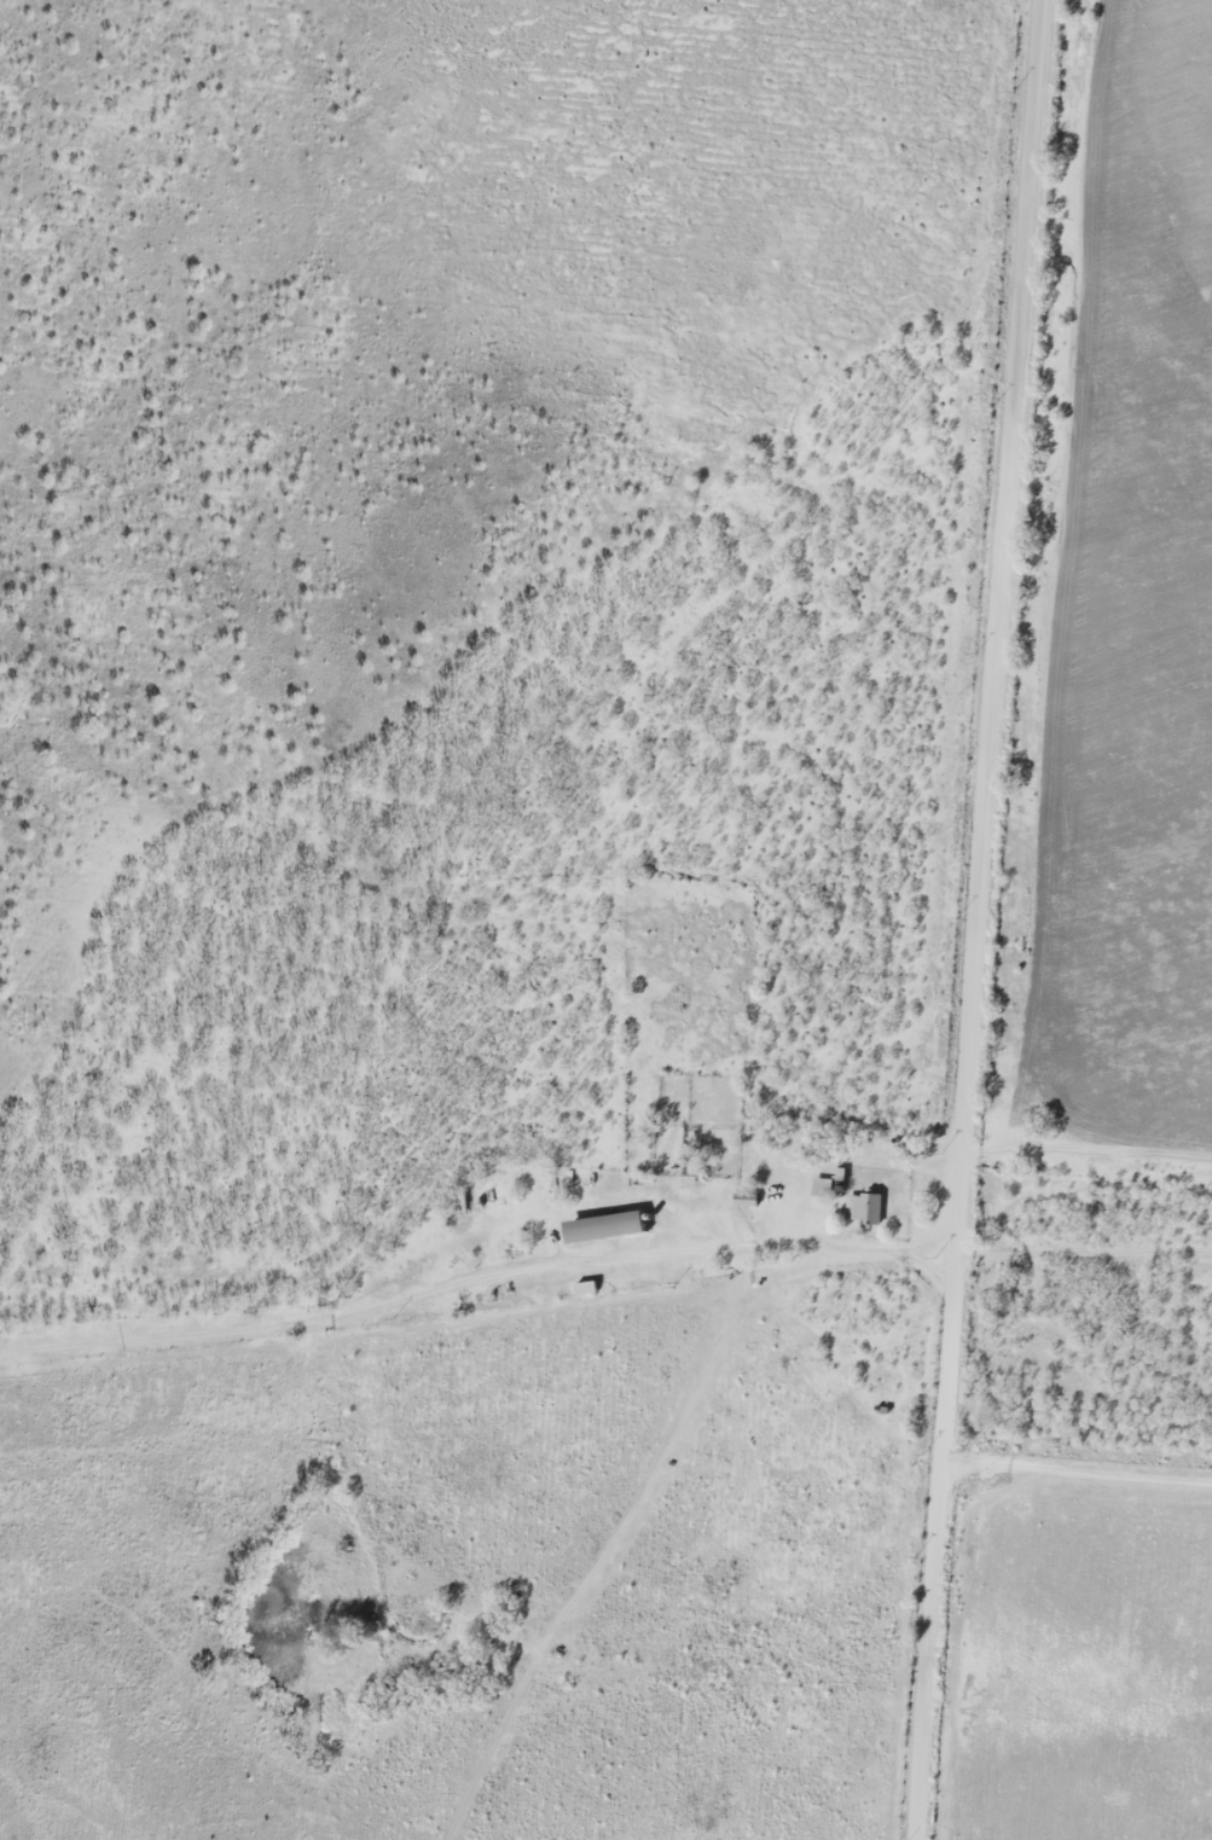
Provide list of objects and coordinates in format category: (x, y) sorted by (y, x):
road: (972, 919)
building: (823, 1190)
building: (610, 1230)
road: (472, 1282)
road: (1081, 1465)

